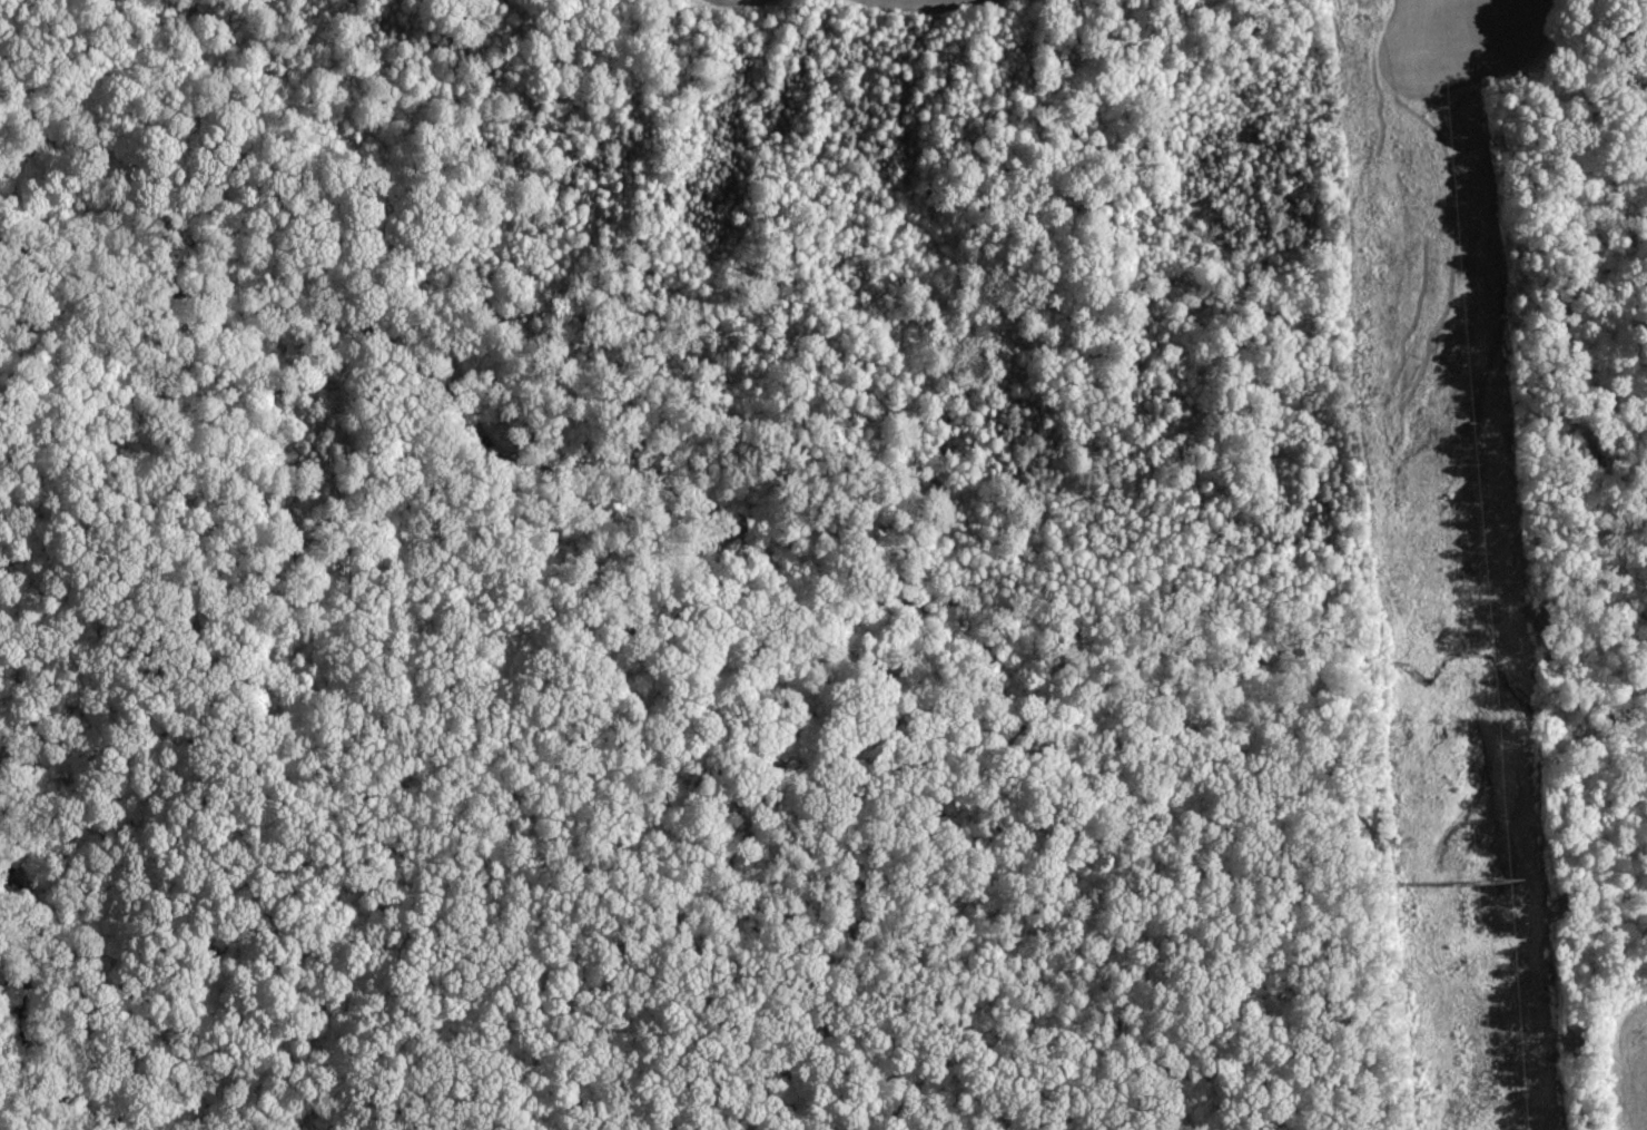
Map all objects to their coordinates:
power tower: (1471, 884)

